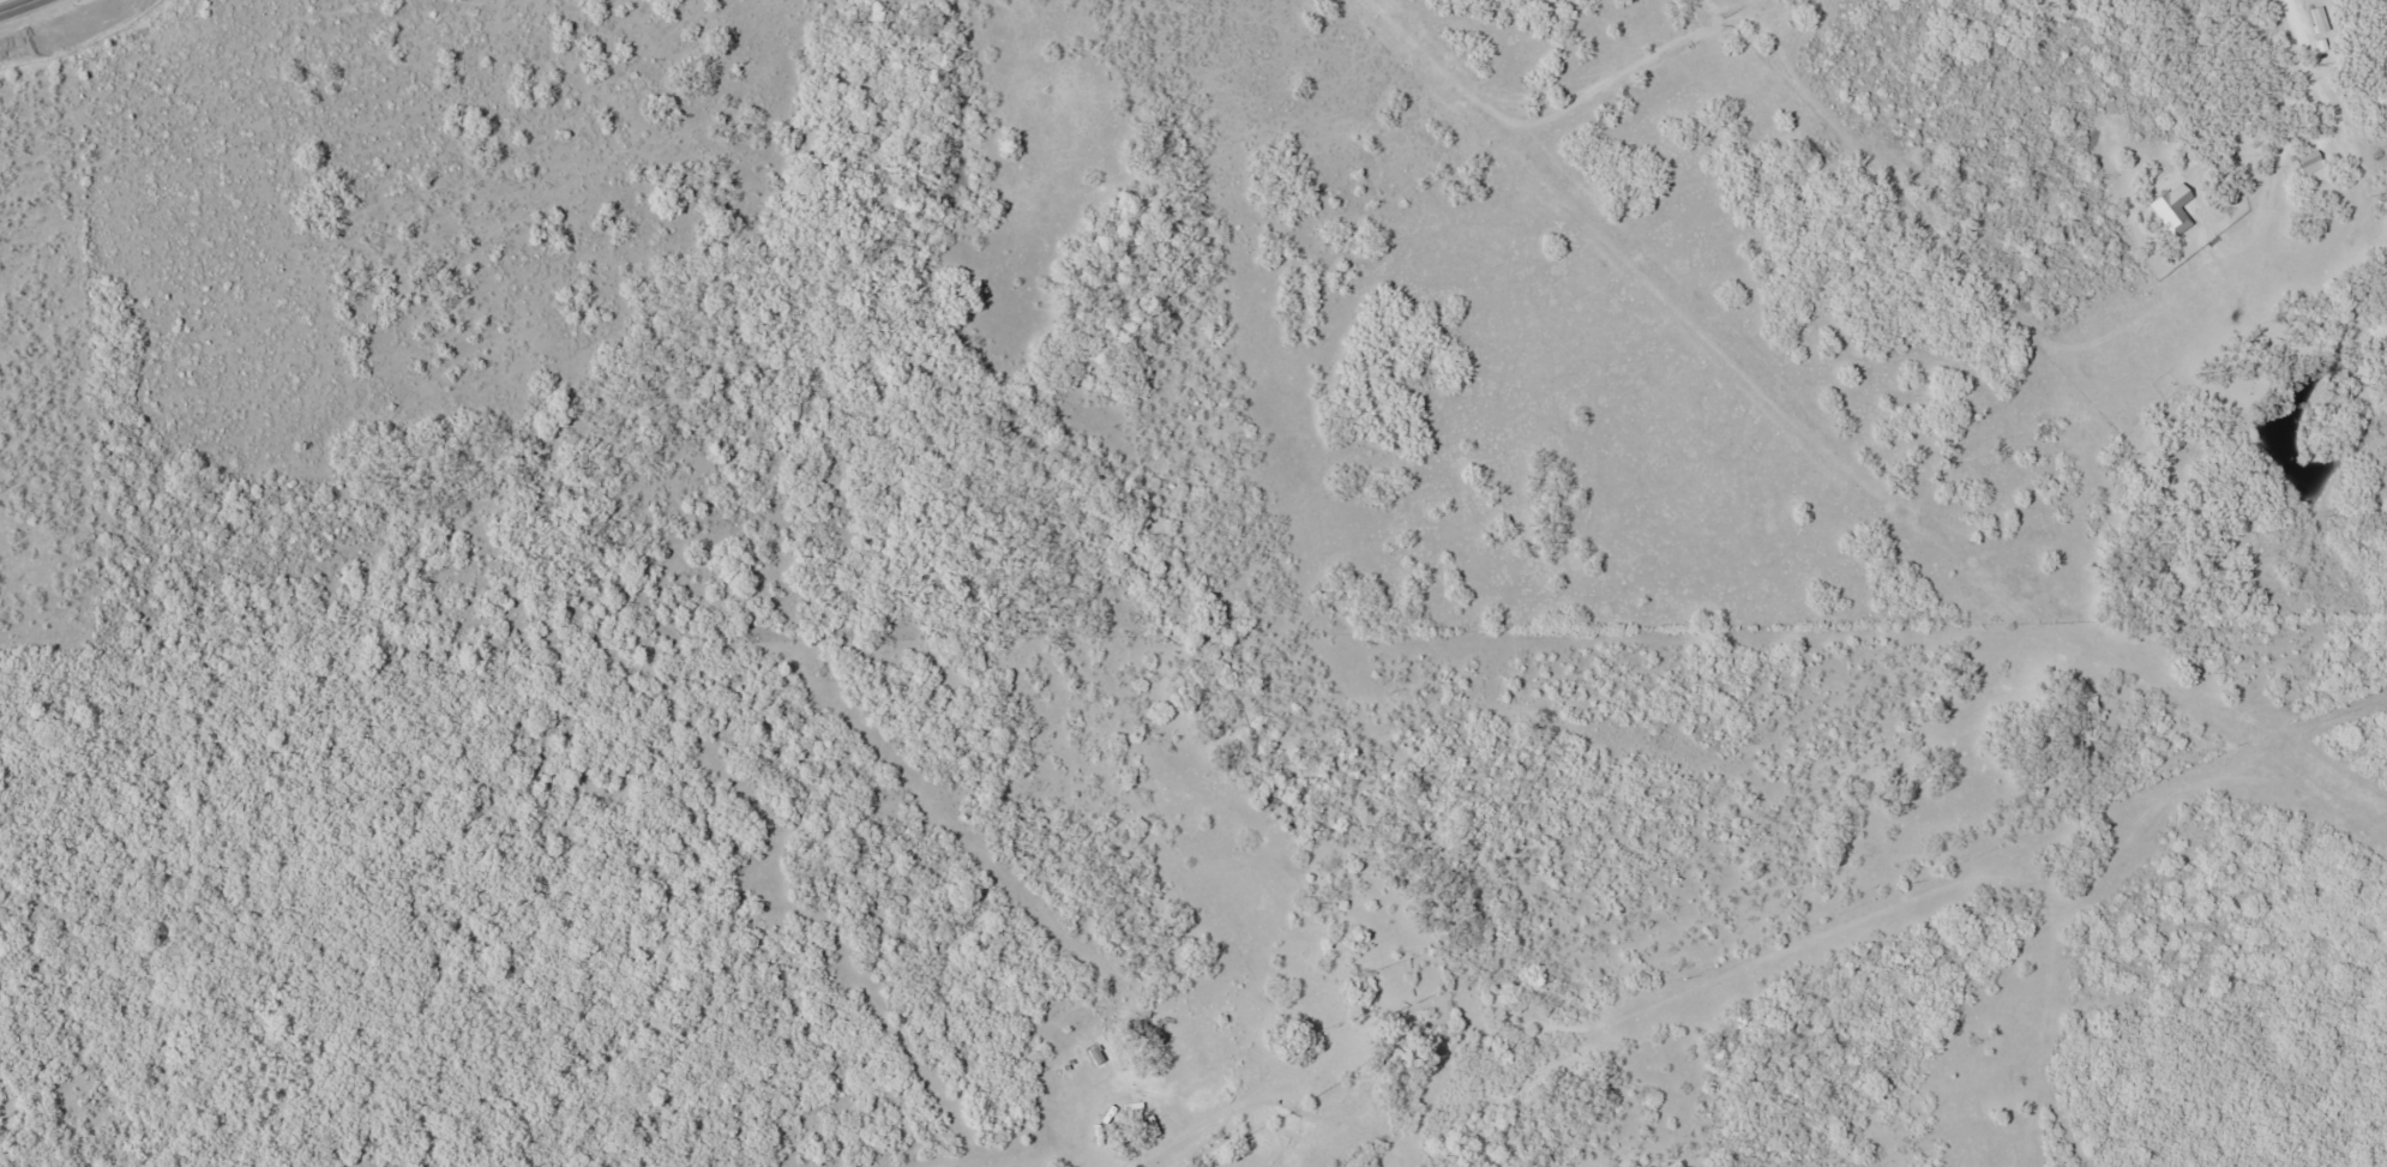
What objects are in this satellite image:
road: (20, 5)

